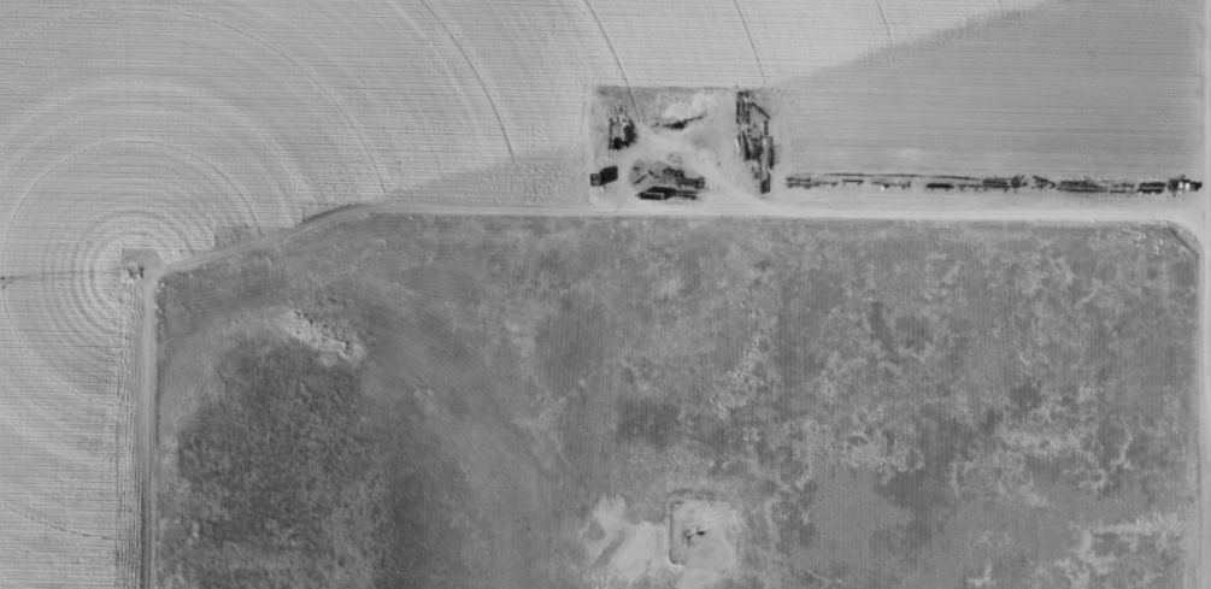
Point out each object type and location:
road: (810, 216)
road: (1200, 255)

